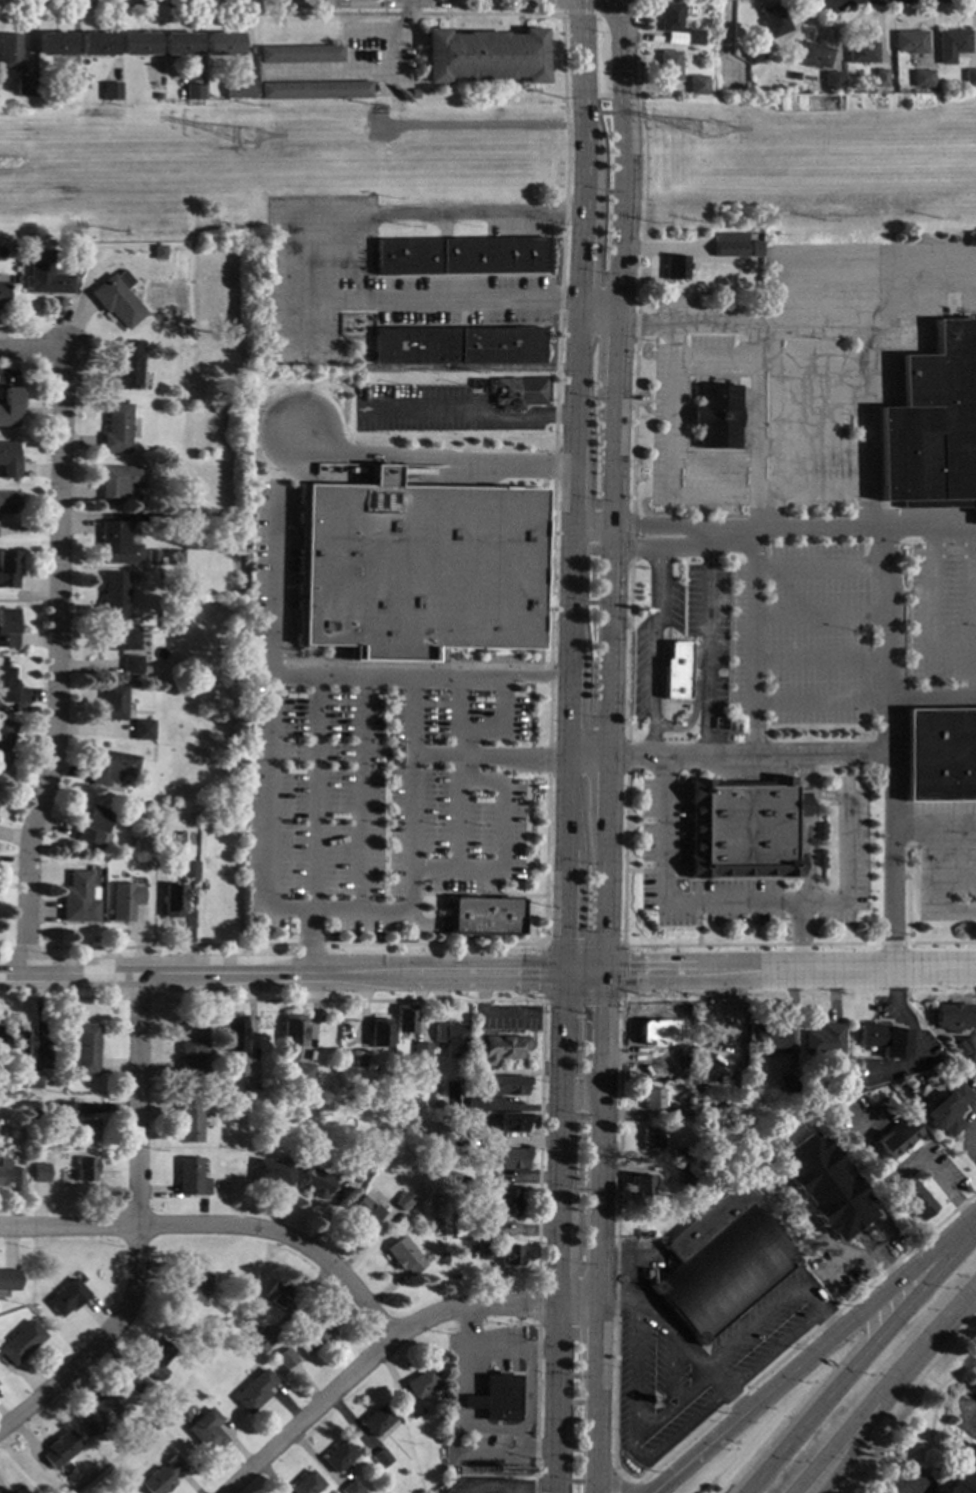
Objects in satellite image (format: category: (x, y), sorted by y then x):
road: (562, 5)
road: (600, 11)
road: (878, 11)
building: (669, 16)
road: (403, 17)
building: (775, 20)
building: (693, 36)
road: (727, 38)
building: (910, 41)
building: (53, 43)
building: (137, 43)
building: (178, 43)
building: (220, 43)
building: (95, 44)
building: (952, 44)
building: (9, 51)
building: (861, 52)
building: (298, 53)
building: (755, 53)
building: (813, 54)
building: (484, 55)
building: (667, 65)
road: (370, 71)
road: (577, 75)
building: (879, 76)
building: (922, 77)
building: (969, 77)
building: (831, 79)
building: (696, 84)
building: (23, 87)
building: (236, 87)
building: (312, 89)
building: (108, 90)
building: (191, 91)
building: (412, 92)
building: (154, 95)
power tower: (704, 136)
power tower: (246, 142)
road: (487, 152)
road: (616, 159)
road: (322, 217)
road: (574, 224)
building: (729, 245)
building: (79, 247)
building: (457, 255)
building: (670, 267)
building: (43, 275)
building: (2, 292)
road: (594, 298)
road: (476, 300)
building: (115, 301)
road: (593, 317)
road: (801, 318)
building: (455, 345)
road: (31, 350)
road: (613, 353)
road: (572, 359)
building: (128, 365)
road: (430, 366)
road: (671, 390)
building: (517, 391)
building: (640, 398)
building: (10, 405)
road: (465, 412)
building: (714, 416)
building: (932, 424)
building: (116, 428)
road: (553, 446)
road: (430, 456)
building: (10, 459)
road: (612, 460)
road: (677, 460)
road: (570, 475)
building: (120, 482)
road: (710, 497)
building: (9, 501)
road: (793, 528)
road: (590, 530)
road: (754, 536)
building: (116, 545)
building: (150, 553)
building: (417, 562)
road: (819, 567)
building: (9, 568)
road: (885, 573)
road: (273, 581)
road: (610, 583)
building: (114, 595)
road: (568, 602)
road: (932, 612)
road: (822, 613)
road: (974, 615)
building: (8, 626)
building: (119, 638)
road: (655, 643)
road: (703, 643)
road: (627, 648)
road: (645, 651)
road: (823, 659)
road: (56, 663)
road: (410, 663)
building: (131, 664)
building: (676, 667)
building: (145, 669)
road: (419, 674)
road: (660, 674)
building: (8, 684)
road: (608, 696)
road: (934, 697)
road: (824, 700)
road: (676, 701)
road: (692, 701)
building: (112, 702)
road: (500, 703)
road: (566, 716)
building: (143, 729)
road: (478, 732)
building: (5, 740)
building: (940, 753)
road: (487, 755)
road: (751, 755)
road: (587, 757)
building: (112, 766)
road: (804, 770)
road: (607, 791)
road: (314, 792)
road: (364, 793)
road: (457, 796)
road: (822, 797)
road: (565, 802)
building: (149, 803)
road: (809, 810)
road: (269, 813)
building: (150, 821)
building: (92, 826)
road: (502, 826)
building: (744, 827)
road: (408, 842)
building: (161, 849)
building: (118, 852)
road: (897, 861)
building: (190, 868)
road: (809, 869)
road: (656, 870)
road: (847, 871)
road: (688, 877)
road: (937, 889)
road: (476, 894)
building: (76, 898)
road: (605, 899)
building: (123, 900)
building: (173, 900)
road: (694, 903)
road: (563, 910)
road: (698, 912)
building: (483, 915)
traffic signals: (563, 938)
road: (310, 942)
road: (2, 947)
road: (24, 947)
road: (789, 972)
road: (281, 974)
traffic signals: (537, 974)
road: (583, 974)
traffic signals: (628, 974)
road: (59, 998)
road: (138, 998)
road: (494, 1000)
road: (620, 1000)
traffic signals: (603, 1005)
road: (491, 1012)
road: (665, 1013)
building: (952, 1015)
building: (404, 1019)
road: (602, 1019)
building: (292, 1031)
building: (656, 1031)
building: (379, 1032)
building: (233, 1033)
building: (823, 1038)
building: (883, 1038)
building: (450, 1039)
building: (768, 1039)
road: (918, 1040)
building: (20, 1041)
building: (496, 1047)
building: (87, 1049)
building: (192, 1050)
building: (421, 1050)
road: (707, 1056)
building: (360, 1059)
building: (304, 1070)
road: (511, 1071)
building: (934, 1077)
building: (33, 1080)
building: (426, 1080)
building: (228, 1082)
building: (510, 1085)
building: (786, 1085)
building: (2, 1088)
road: (560, 1089)
building: (802, 1091)
road: (580, 1096)
building: (900, 1096)
building: (652, 1097)
road: (139, 1100)
building: (476, 1101)
building: (440, 1104)
building: (947, 1108)
building: (61, 1109)
building: (682, 1114)
building: (189, 1122)
building: (516, 1122)
building: (85, 1128)
building: (895, 1136)
building: (458, 1137)
road: (975, 1137)
building: (652, 1138)
building: (679, 1153)
building: (14, 1157)
building: (383, 1162)
building: (504, 1162)
building: (356, 1166)
building: (682, 1167)
building: (85, 1169)
road: (901, 1170)
building: (272, 1171)
building: (39, 1172)
building: (10, 1173)
building: (191, 1177)
building: (684, 1178)
building: (317, 1183)
building: (822, 1184)
road: (596, 1185)
building: (642, 1186)
building: (913, 1197)
building: (403, 1200)
building: (508, 1202)
building: (365, 1211)
road: (219, 1224)
building: (484, 1230)
road: (618, 1235)
road: (882, 1237)
building: (485, 1252)
road: (938, 1253)
building: (404, 1255)
building: (511, 1255)
road: (557, 1255)
road: (854, 1260)
road: (944, 1260)
building: (721, 1263)
road: (887, 1268)
building: (8, 1280)
road: (974, 1290)
building: (190, 1295)
building: (278, 1295)
building: (67, 1297)
road: (574, 1304)
road: (538, 1305)
road: (777, 1306)
road: (470, 1327)
road: (593, 1332)
building: (315, 1334)
road: (807, 1336)
road: (679, 1339)
building: (262, 1340)
building: (21, 1341)
road: (97, 1344)
building: (286, 1357)
road: (371, 1357)
building: (156, 1358)
road: (494, 1361)
road: (499, 1372)
road: (931, 1380)
building: (138, 1383)
road: (777, 1388)
building: (975, 1388)
building: (254, 1391)
building: (418, 1391)
road: (885, 1392)
road: (831, 1395)
building: (496, 1397)
road: (553, 1398)
road: (902, 1399)
road: (718, 1402)
road: (452, 1403)
road: (536, 1408)
road: (969, 1410)
building: (156, 1412)
building: (99, 1414)
building: (378, 1420)
road: (641, 1421)
road: (593, 1426)
road: (868, 1427)
road: (930, 1427)
road: (498, 1429)
building: (206, 1430)
road: (497, 1438)
road: (522, 1438)
building: (62, 1448)
building: (338, 1455)
road: (943, 1457)
building: (381, 1458)
building: (162, 1476)
building: (964, 1478)
road: (612, 1482)
building: (306, 1483)
road: (606, 1485)
building: (352, 1488)
road: (633, 1488)
road: (904, 1490)
building: (10, 1491)
road: (500, 1491)
road: (536, 1492)

